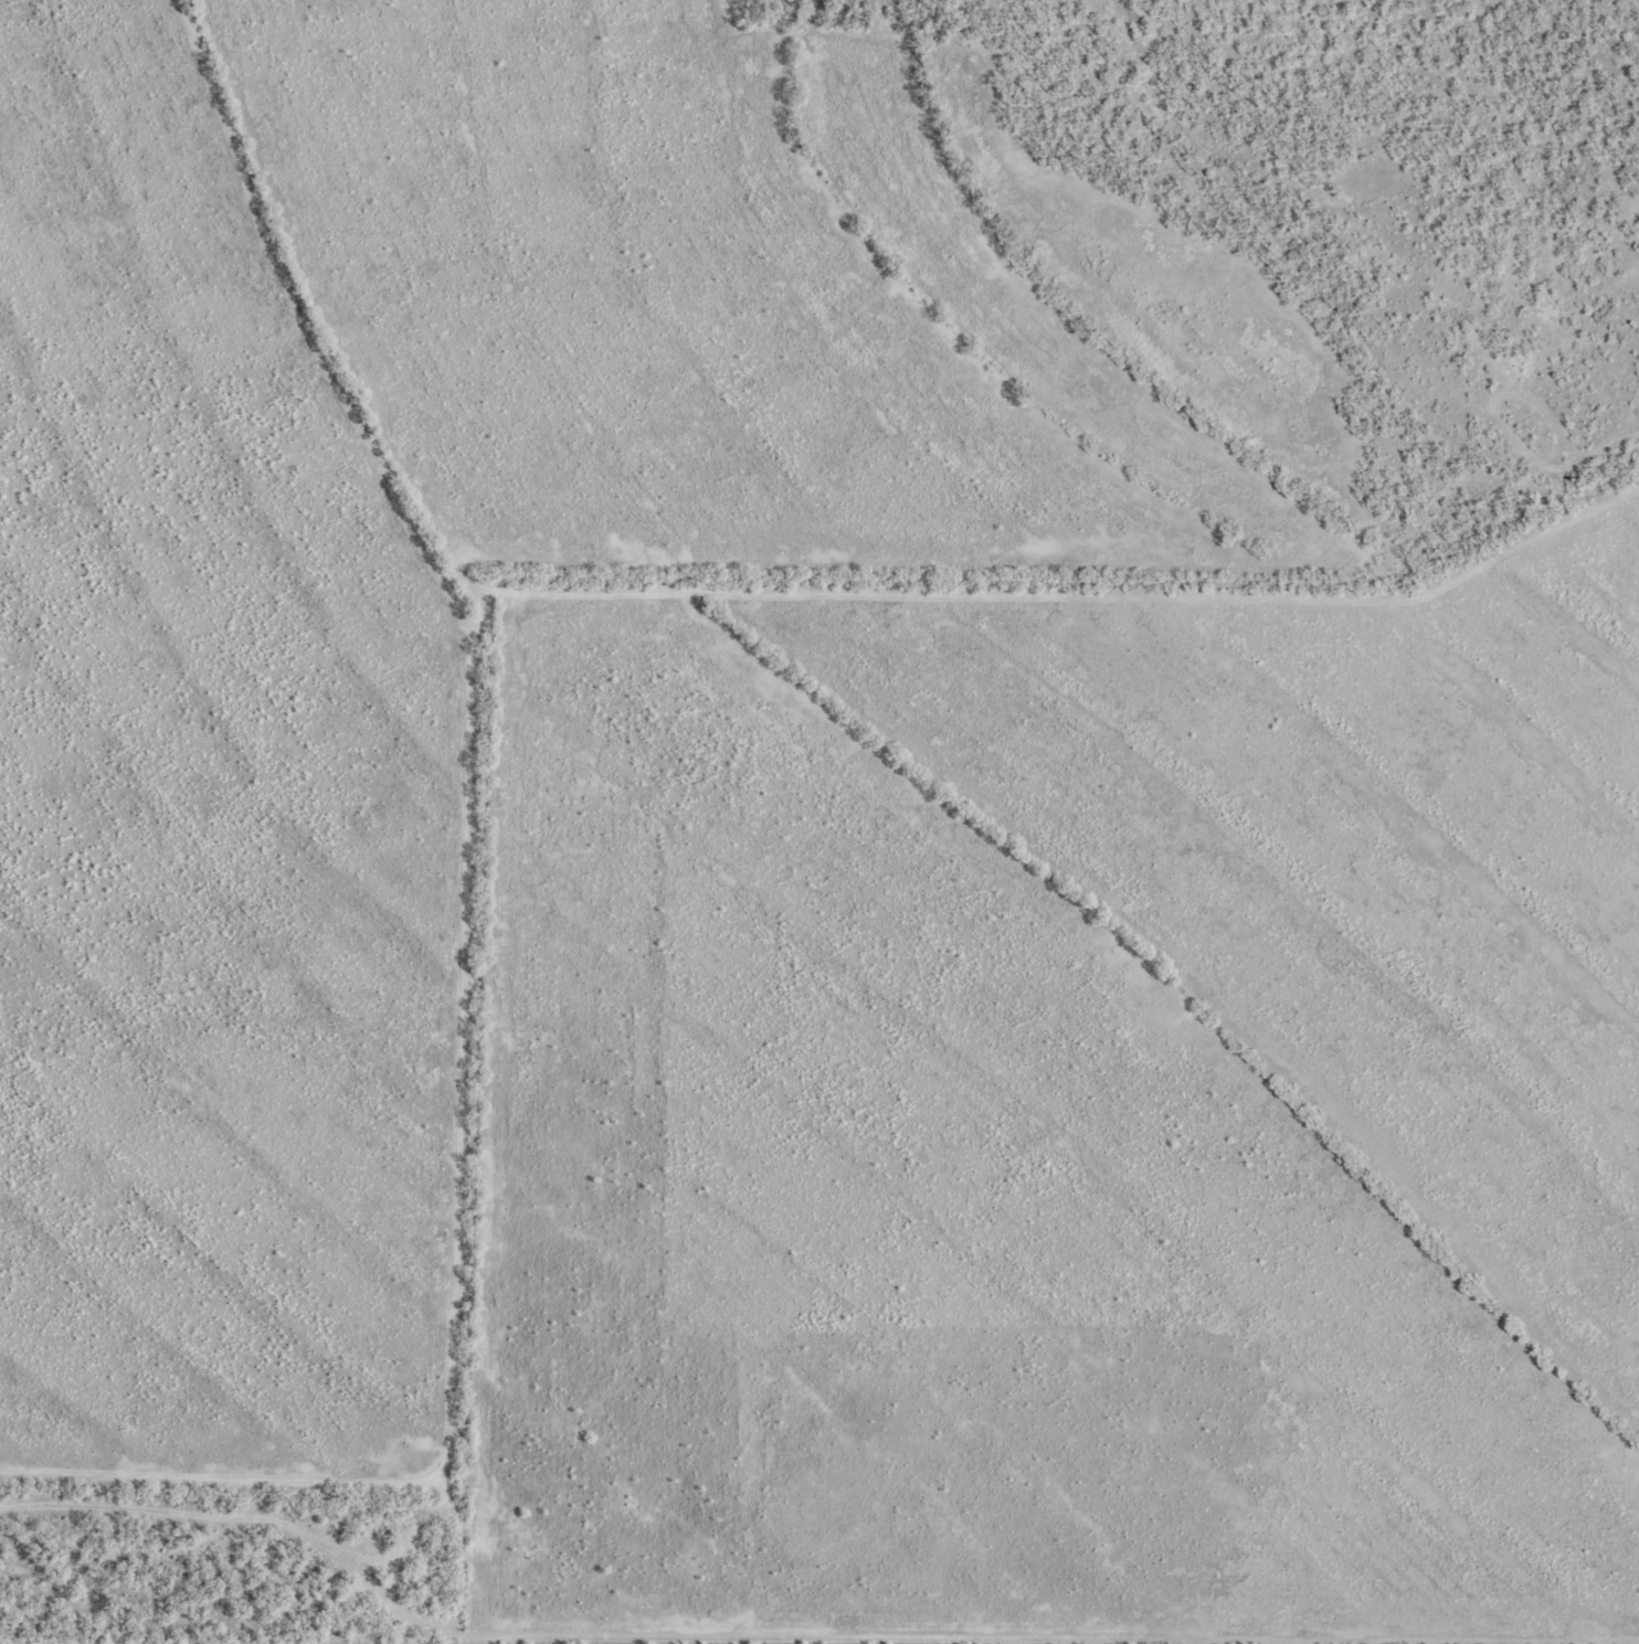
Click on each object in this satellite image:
road: (1521, 183)

